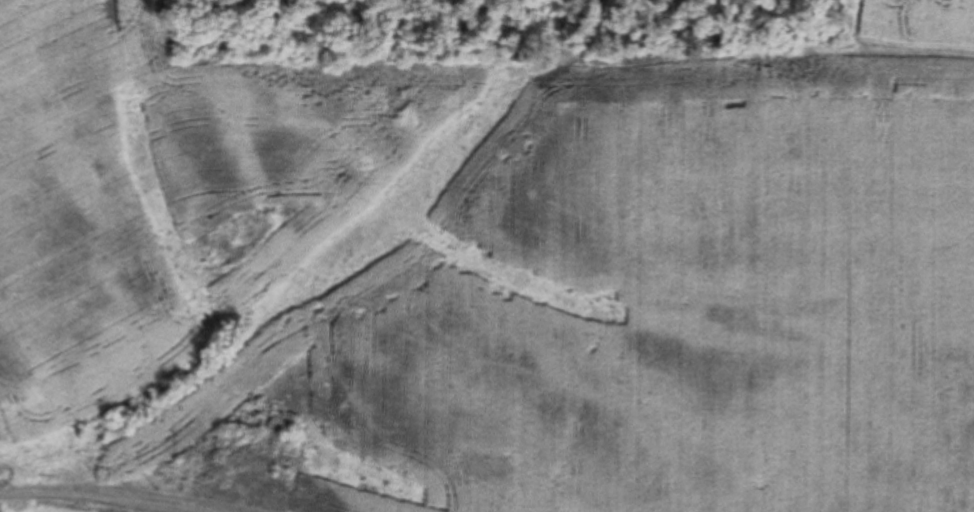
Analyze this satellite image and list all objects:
road: (79, 498)

